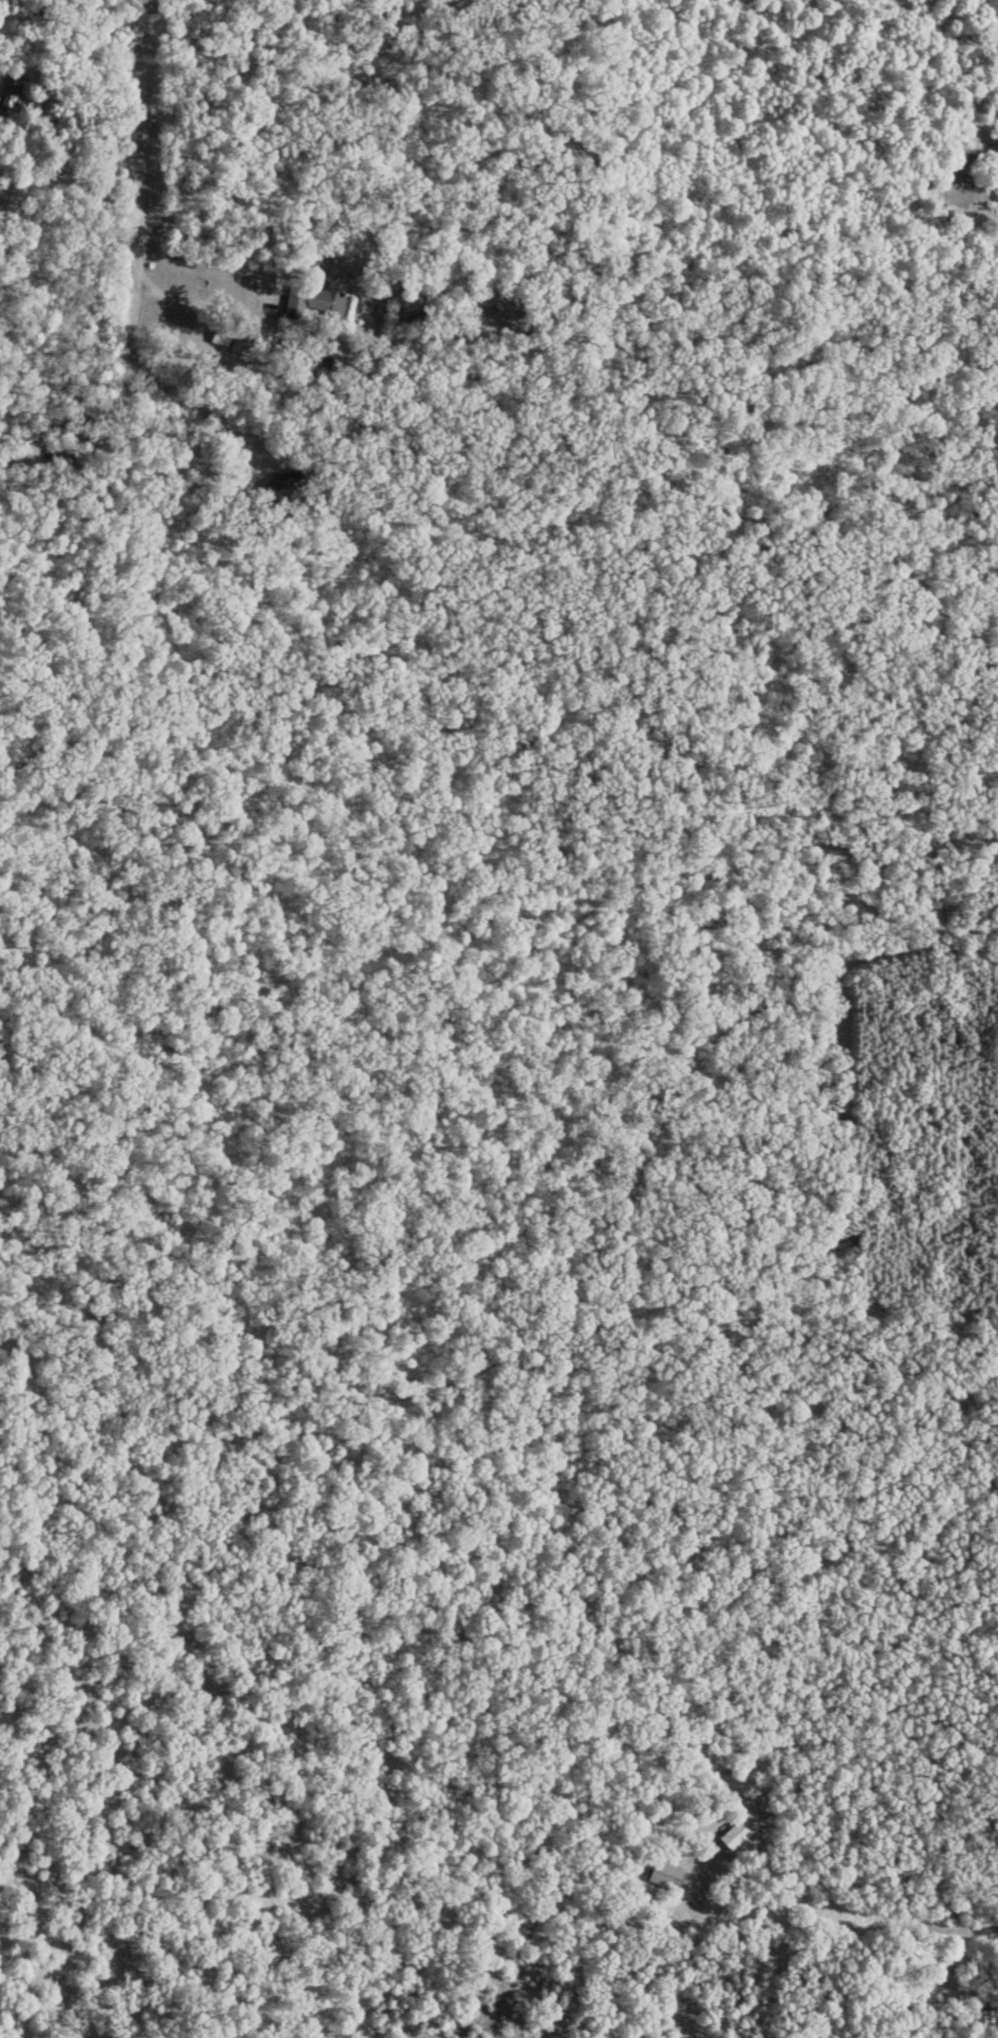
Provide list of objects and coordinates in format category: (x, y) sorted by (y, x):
road: (156, 46)
building: (312, 299)
building: (508, 305)
building: (220, 334)
building: (241, 342)
building: (280, 478)
building: (737, 1830)
building: (663, 1873)
road: (928, 1931)
building: (924, 2001)
building: (981, 2021)

